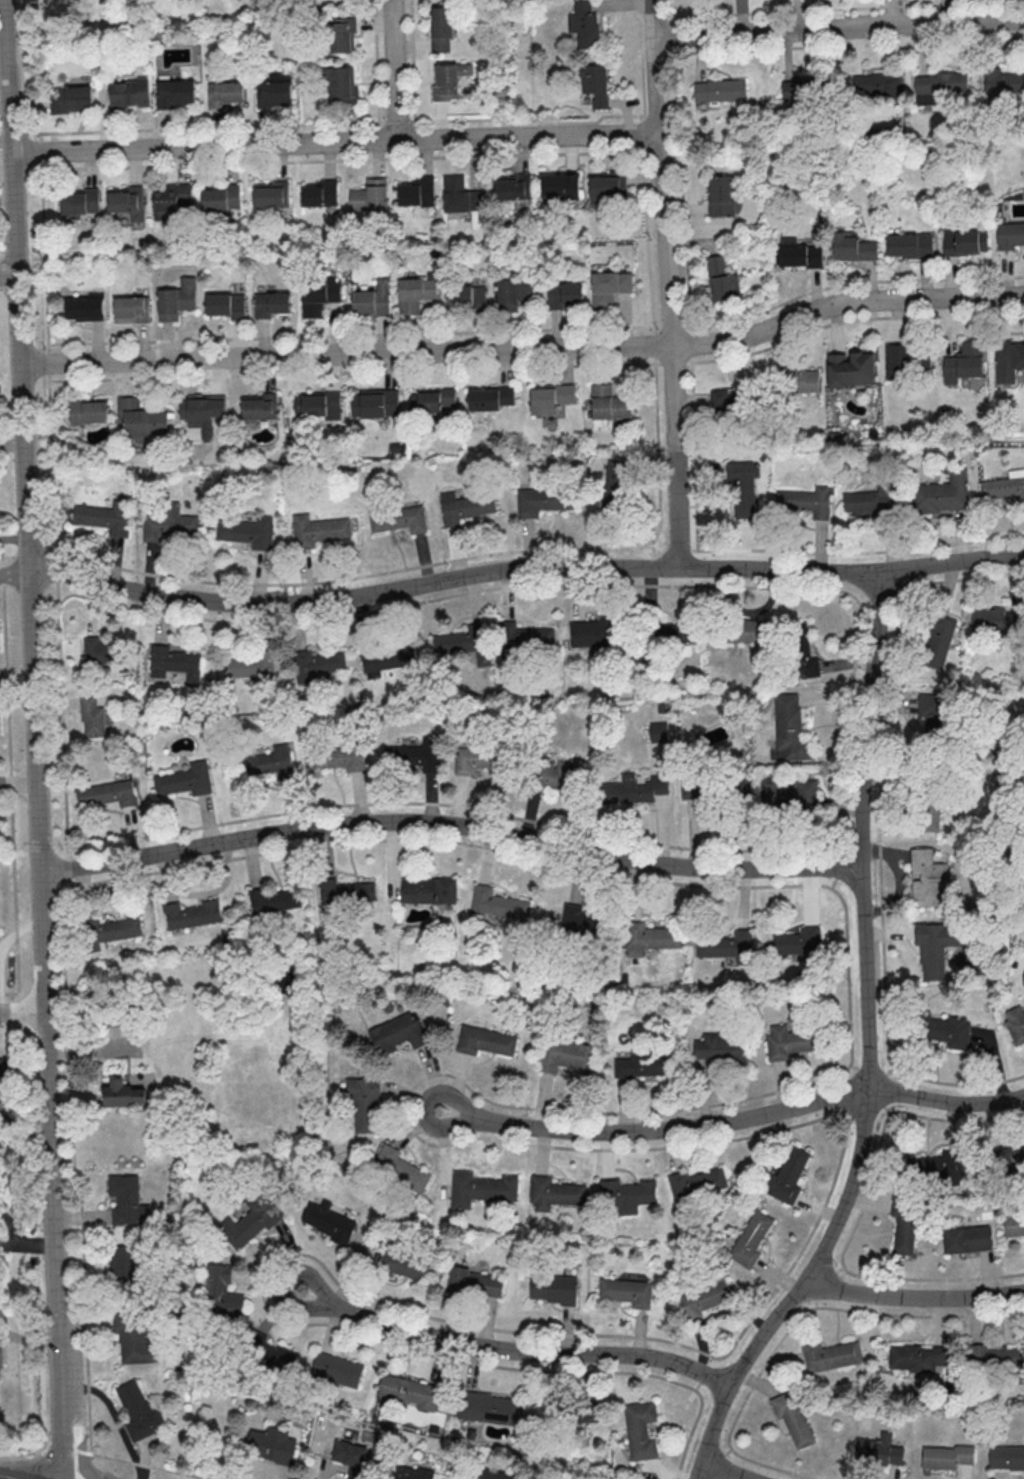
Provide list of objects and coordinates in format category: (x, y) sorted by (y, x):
road: (843, 9)
park: (83, 23)
building: (585, 24)
road: (838, 27)
building: (442, 28)
building: (342, 33)
road: (829, 46)
road: (639, 57)
road: (393, 69)
building: (449, 79)
building: (340, 83)
building: (595, 83)
building: (804, 90)
building: (718, 91)
building: (173, 93)
building: (223, 93)
building: (127, 94)
building: (272, 94)
building: (70, 98)
road: (342, 123)
road: (335, 142)
building: (560, 185)
building: (604, 186)
building: (512, 187)
building: (415, 192)
building: (318, 193)
building: (271, 194)
building: (721, 195)
building: (367, 196)
building: (222, 197)
building: (172, 198)
building: (463, 198)
building: (125, 199)
building: (80, 202)
building: (1009, 236)
building: (965, 241)
building: (908, 246)
building: (851, 250)
building: (800, 255)
road: (647, 258)
road: (7, 275)
building: (720, 277)
road: (666, 283)
road: (21, 287)
building: (608, 287)
building: (511, 292)
building: (413, 293)
building: (565, 295)
building: (316, 297)
building: (467, 297)
building: (174, 299)
building: (372, 299)
building: (272, 304)
building: (225, 306)
building: (84, 308)
building: (131, 308)
road: (689, 328)
road: (348, 335)
road: (524, 347)
building: (906, 360)
building: (1007, 360)
building: (963, 362)
building: (854, 373)
building: (791, 381)
building: (549, 397)
building: (489, 398)
building: (430, 399)
building: (373, 402)
building: (727, 402)
building: (312, 403)
building: (608, 404)
building: (258, 405)
building: (200, 407)
building: (89, 411)
building: (139, 418)
road: (655, 456)
building: (742, 470)
building: (614, 487)
building: (1002, 487)
building: (940, 494)
building: (804, 500)
building: (541, 501)
building: (872, 501)
building: (464, 508)
building: (103, 515)
building: (397, 519)
building: (168, 522)
building: (315, 530)
building: (245, 532)
road: (13, 539)
road: (522, 568)
road: (13, 571)
building: (1003, 621)
building: (591, 631)
building: (671, 631)
building: (527, 637)
building: (459, 640)
building: (774, 641)
building: (938, 641)
building: (99, 650)
building: (387, 658)
building: (168, 660)
building: (319, 663)
building: (250, 666)
building: (933, 712)
building: (93, 716)
road: (59, 721)
building: (789, 729)
building: (658, 731)
road: (33, 739)
building: (416, 753)
building: (347, 757)
building: (477, 758)
building: (271, 762)
building: (555, 774)
building: (185, 779)
road: (17, 784)
building: (698, 787)
building: (646, 788)
building: (786, 792)
building: (105, 793)
road: (447, 804)
building: (930, 812)
road: (449, 824)
building: (927, 877)
building: (429, 890)
building: (364, 893)
building: (331, 894)
building: (275, 900)
building: (497, 903)
building: (191, 914)
building: (581, 919)
building: (108, 930)
building: (656, 937)
building: (792, 942)
building: (732, 944)
building: (937, 948)
road: (21, 1011)
building: (1015, 1024)
building: (949, 1030)
building: (400, 1031)
building: (485, 1040)
building: (789, 1041)
road: (868, 1045)
building: (720, 1048)
building: (566, 1055)
building: (642, 1065)
building: (122, 1093)
road: (946, 1102)
building: (364, 1103)
road: (656, 1128)
building: (1009, 1154)
building: (399, 1166)
building: (935, 1169)
building: (788, 1175)
building: (688, 1184)
building: (487, 1189)
building: (554, 1193)
building: (629, 1194)
building: (127, 1200)
building: (250, 1222)
building: (328, 1222)
building: (904, 1223)
building: (1014, 1224)
road: (9, 1229)
building: (751, 1237)
building: (967, 1238)
road: (29, 1243)
road: (47, 1245)
building: (402, 1264)
building: (122, 1268)
building: (472, 1282)
building: (558, 1289)
building: (626, 1291)
building: (219, 1293)
road: (915, 1295)
building: (704, 1298)
building: (136, 1340)
road: (510, 1349)
building: (269, 1352)
building: (832, 1355)
building: (918, 1355)
building: (997, 1357)
building: (0, 1360)
building: (336, 1368)
building: (408, 1389)
building: (491, 1407)
building: (139, 1410)
building: (591, 1410)
building: (793, 1419)
building: (640, 1429)
building: (272, 1443)
building: (880, 1449)
road: (106, 1455)
building: (948, 1456)
building: (351, 1457)
building: (1006, 1458)
road: (727, 1471)
building: (413, 1472)
building: (485, 1473)
road: (11, 1476)

